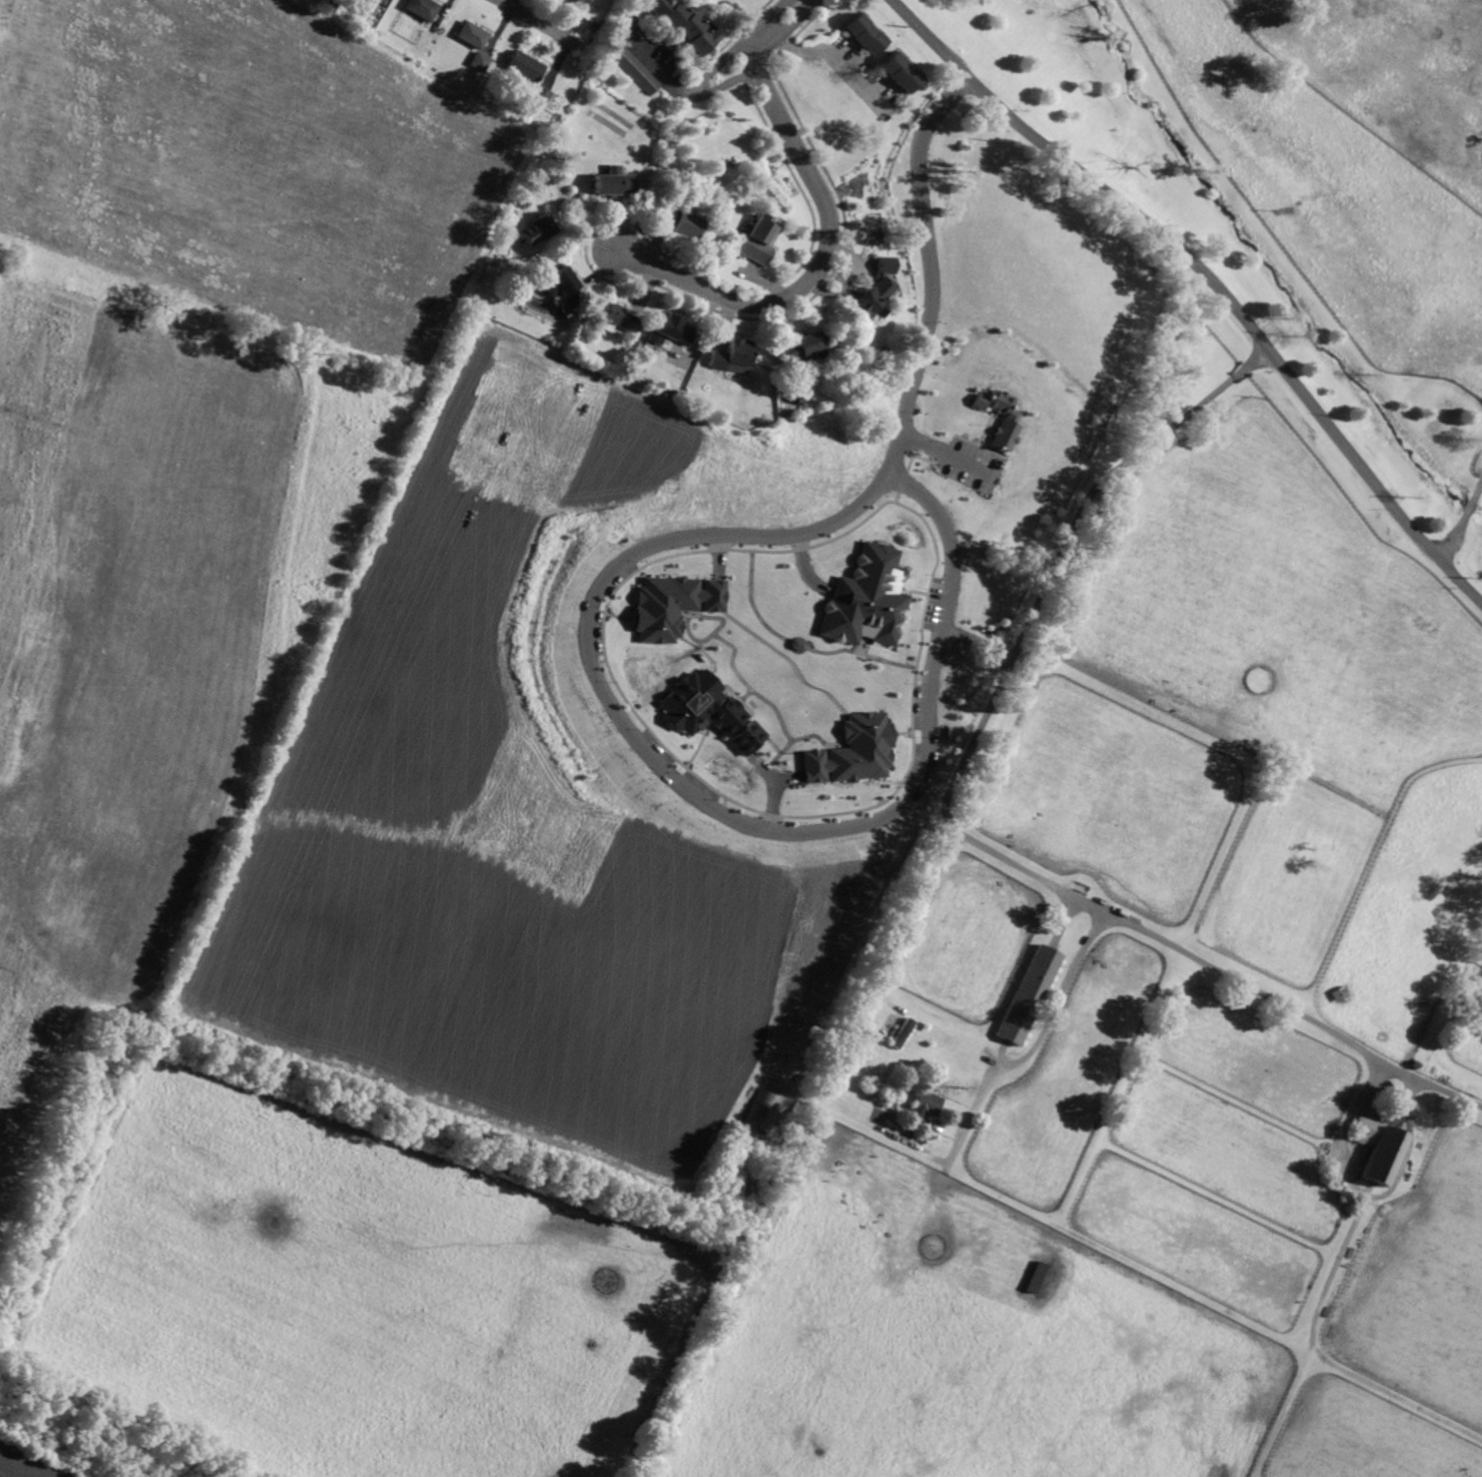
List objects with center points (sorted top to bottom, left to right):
building: (570, 1)
road: (508, 2)
building: (422, 8)
road: (535, 21)
building: (684, 24)
road: (921, 27)
building: (865, 34)
building: (472, 35)
road: (733, 49)
road: (750, 52)
road: (831, 58)
building: (480, 61)
building: (524, 66)
building: (633, 67)
road: (750, 69)
building: (900, 73)
building: (540, 96)
building: (614, 182)
building: (681, 224)
building: (538, 229)
building: (759, 239)
road: (930, 269)
road: (816, 270)
building: (563, 285)
building: (878, 288)
road: (1239, 305)
building: (621, 318)
building: (671, 330)
building: (802, 346)
building: (734, 356)
building: (1009, 419)
road: (944, 450)
road: (1462, 522)
building: (869, 599)
building: (675, 605)
road: (978, 641)
building: (704, 706)
building: (750, 738)
building: (855, 752)
road: (700, 799)
road: (953, 825)
building: (1029, 994)
road: (867, 1003)
road: (1431, 1040)
road: (1035, 1041)
building: (925, 1107)
building: (765, 1109)
building: (1380, 1148)
building: (1036, 1277)

